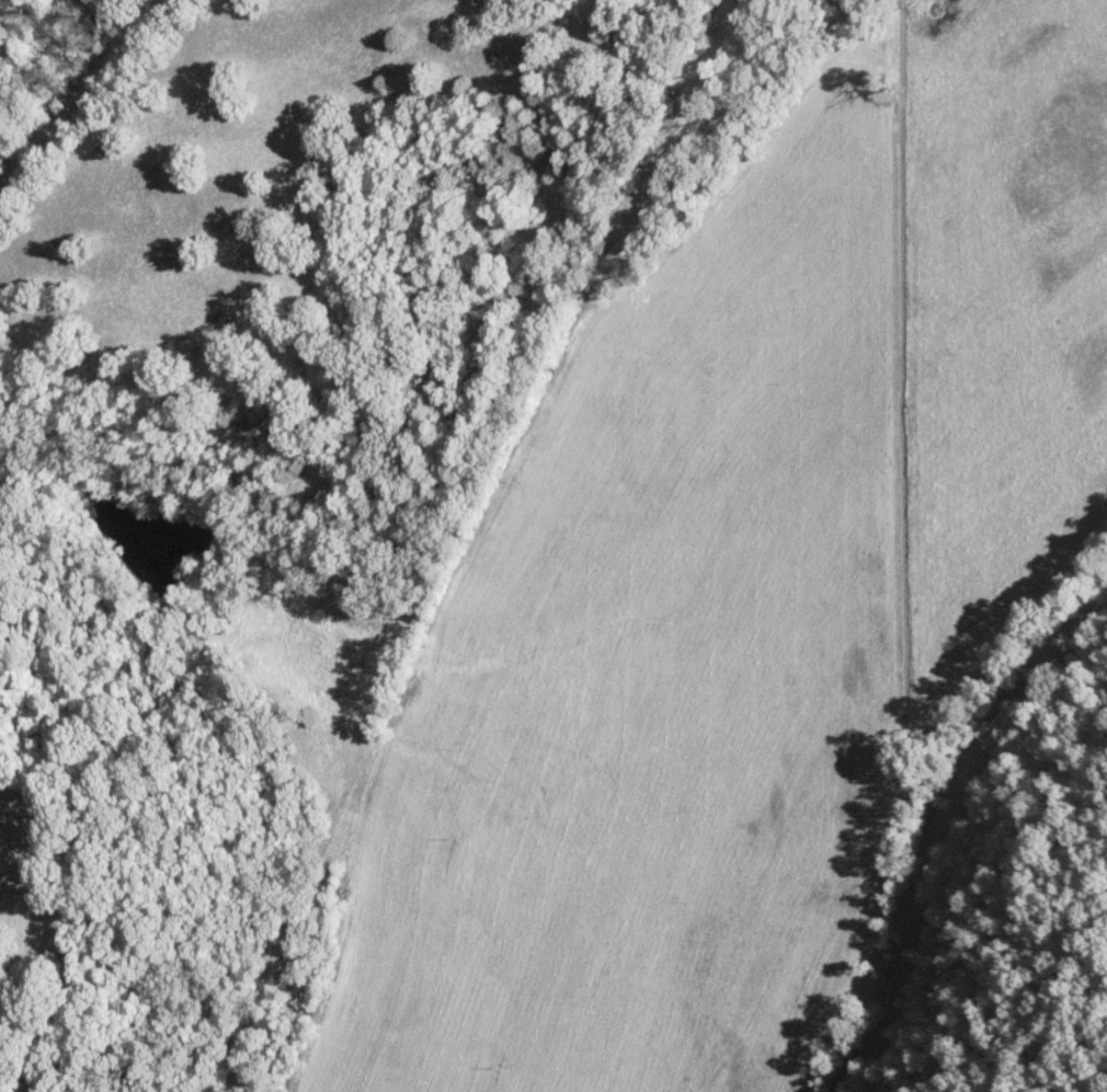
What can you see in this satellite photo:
road: (79, 91)

